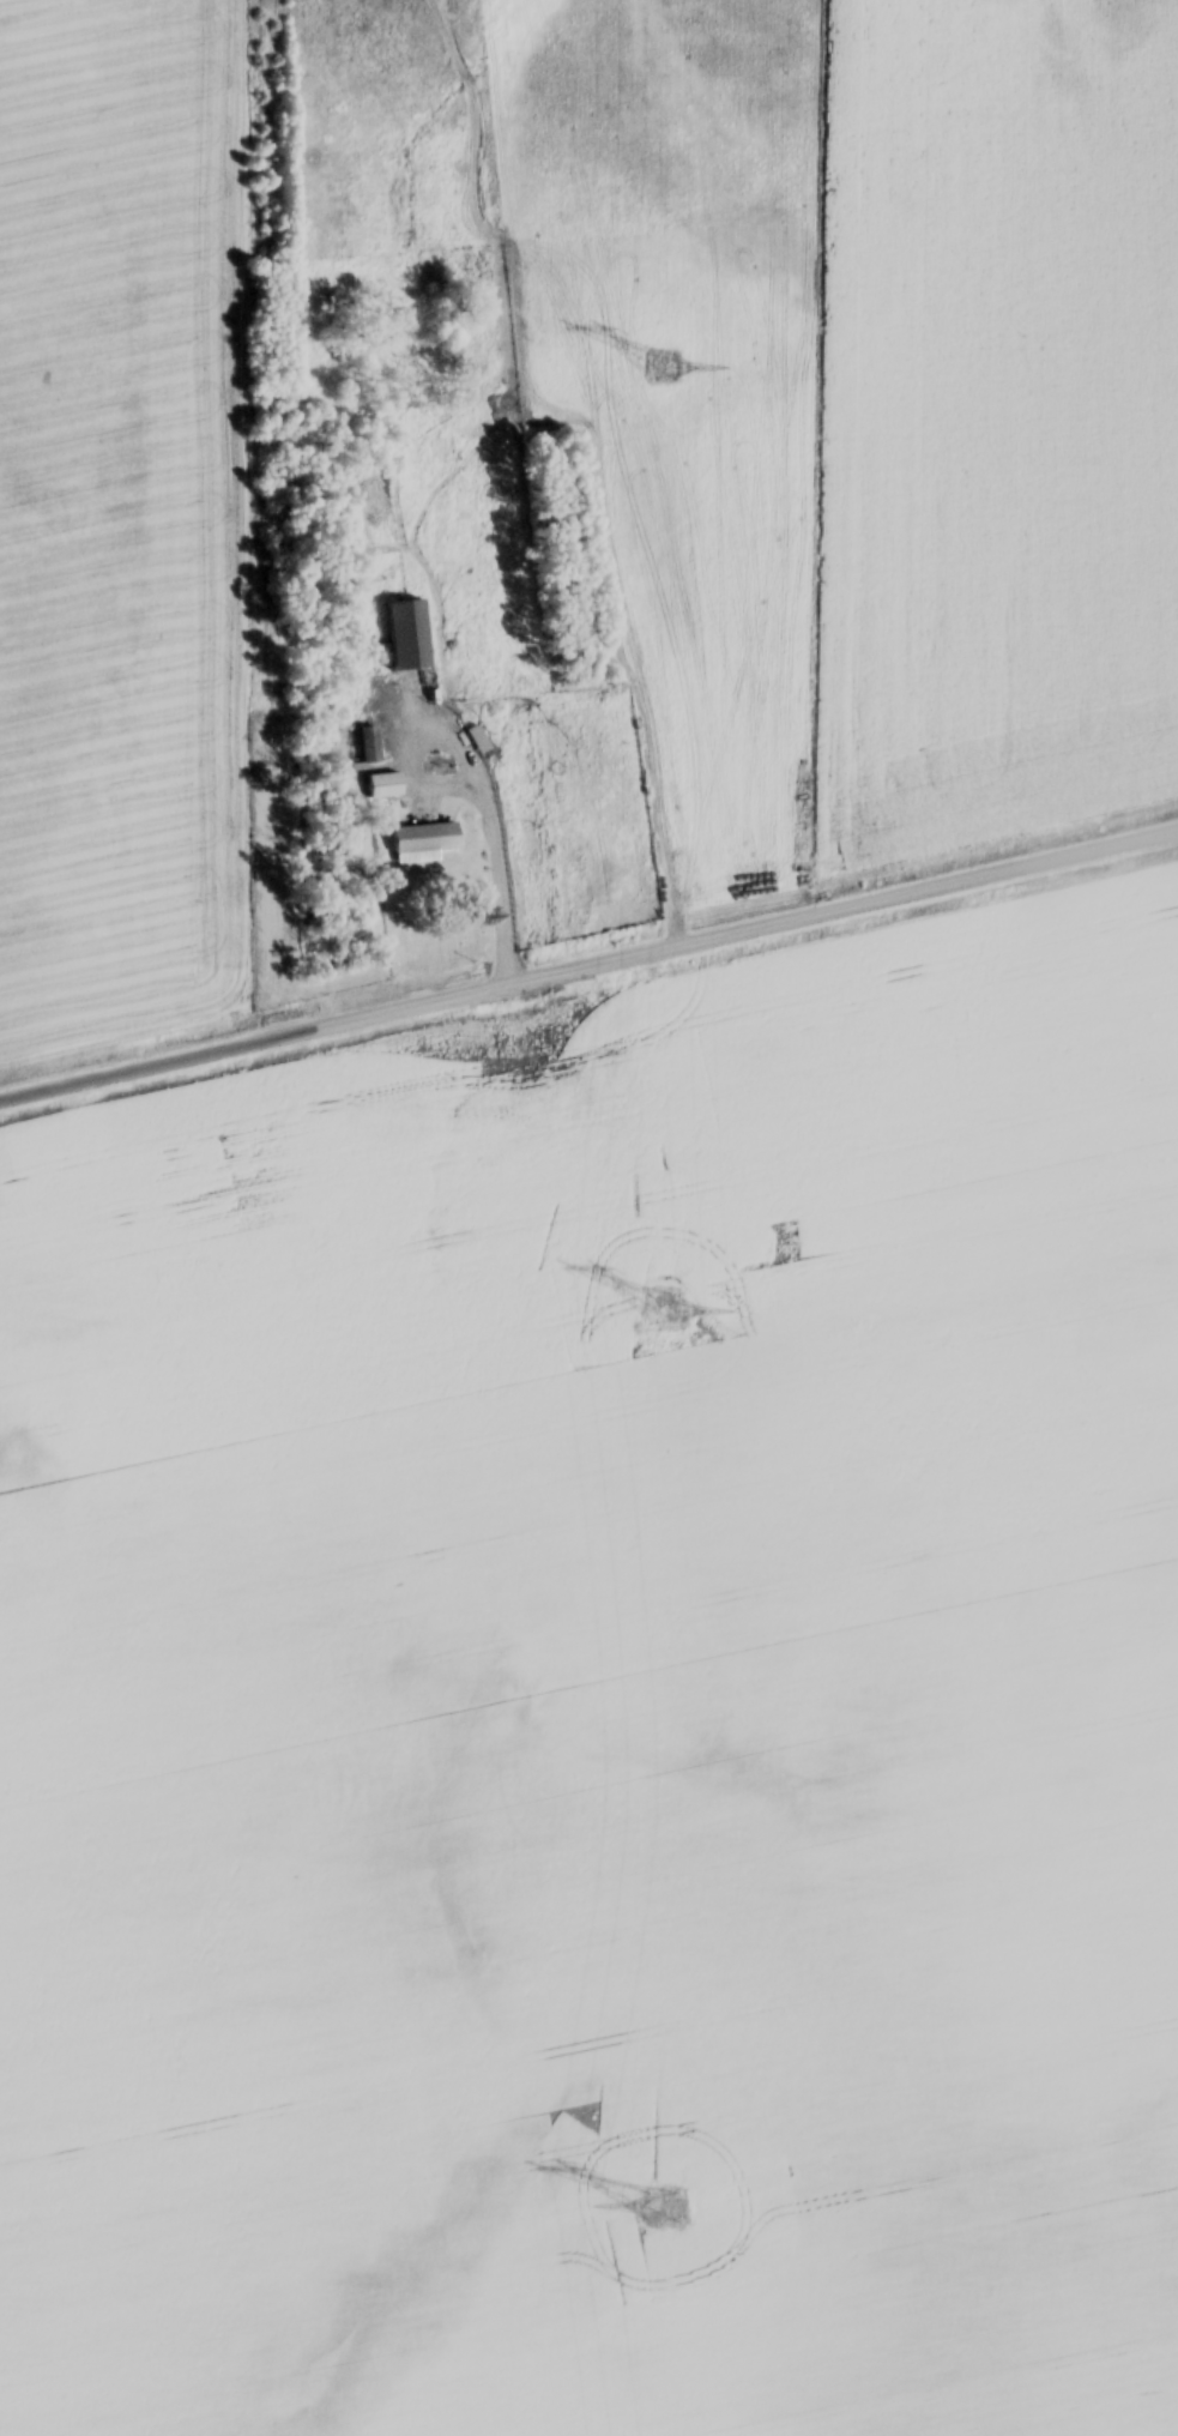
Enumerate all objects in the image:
power tower: (654, 364)
building: (401, 637)
building: (367, 746)
building: (380, 788)
road: (477, 795)
building: (418, 839)
road: (588, 963)
power tower: (665, 1315)
power tower: (666, 2209)

